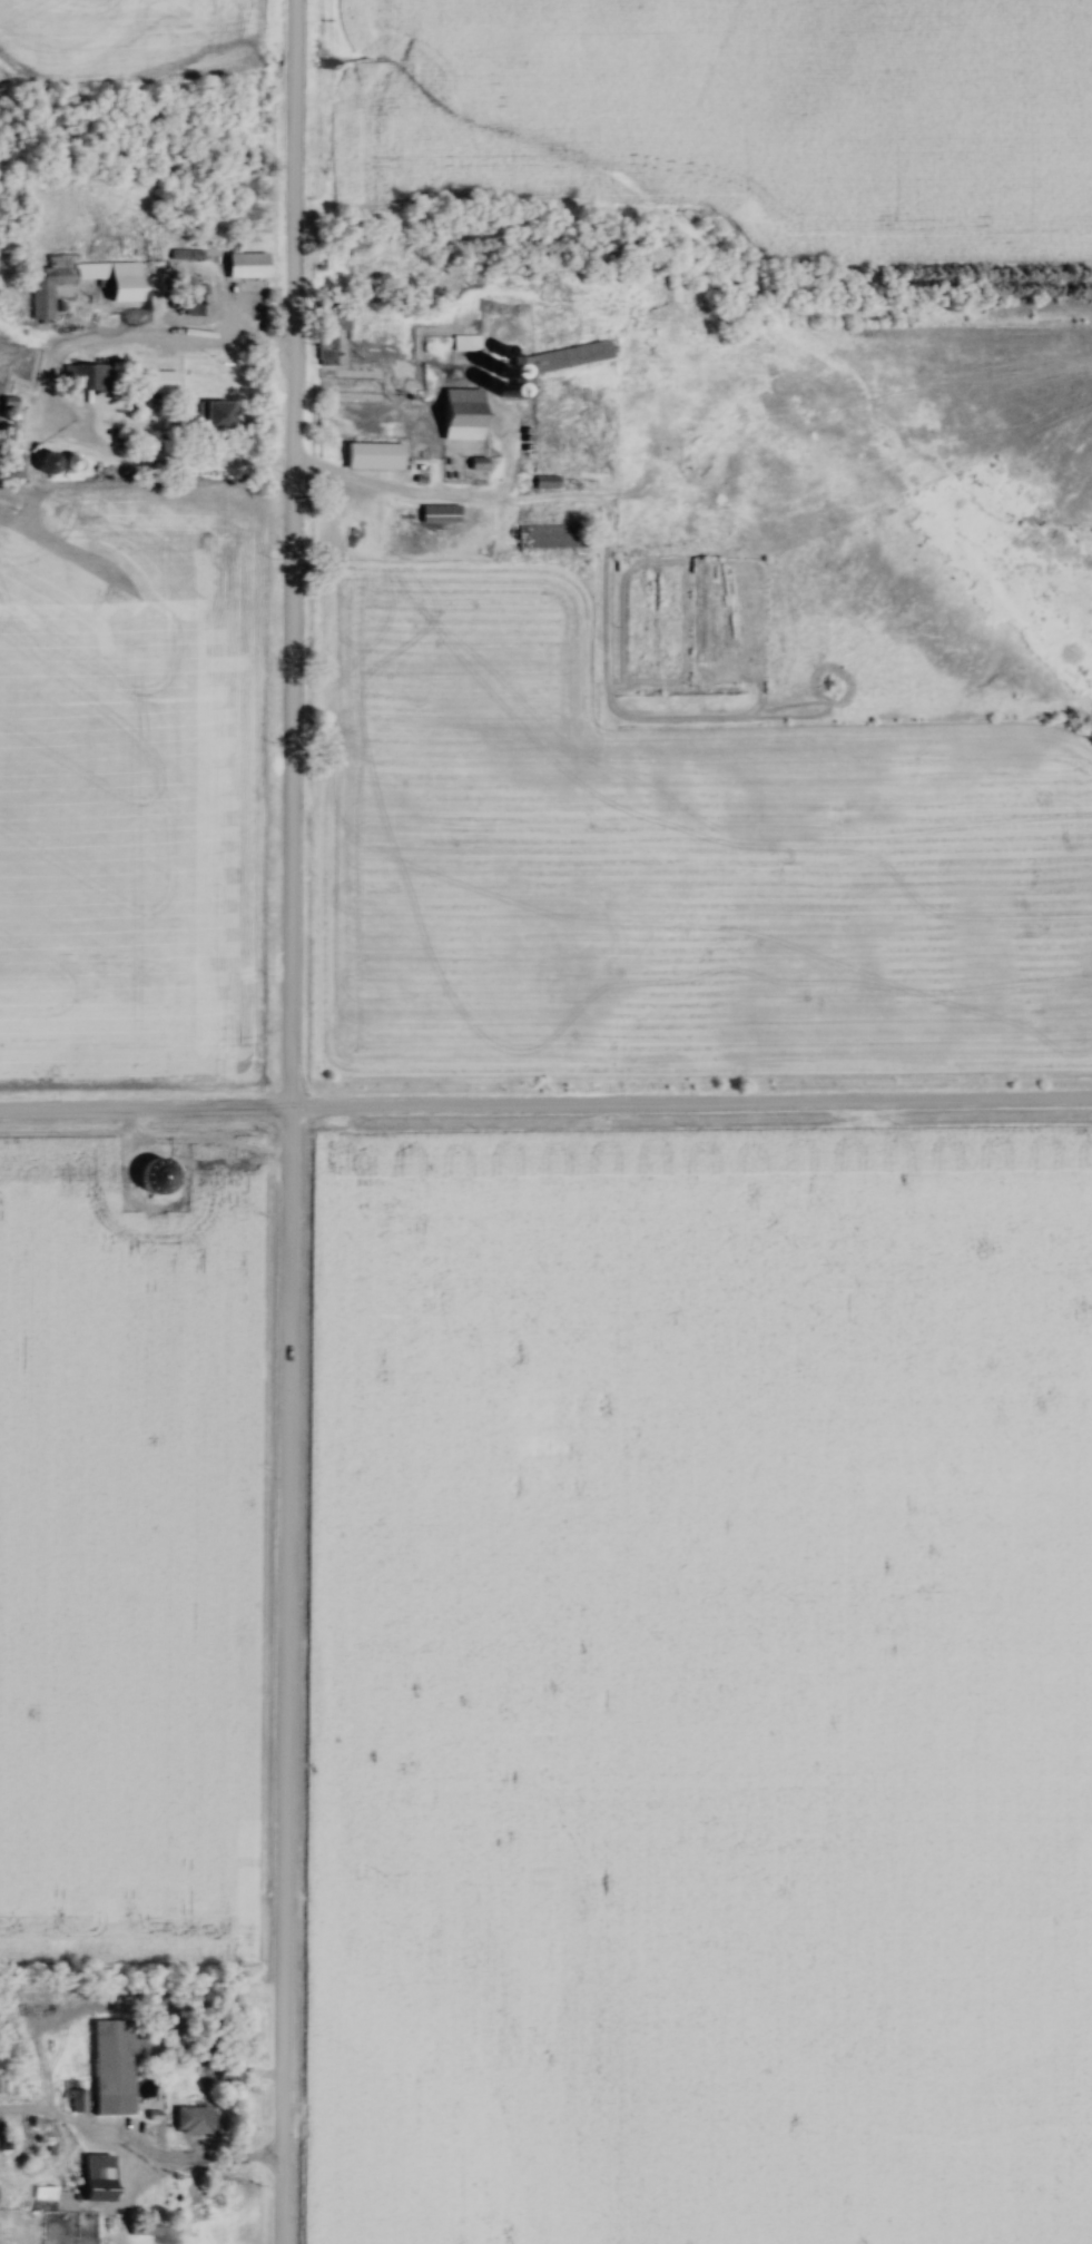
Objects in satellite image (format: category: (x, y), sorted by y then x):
building: (248, 265)
building: (83, 282)
building: (466, 343)
building: (555, 361)
building: (88, 376)
building: (158, 381)
building: (217, 413)
building: (465, 414)
building: (72, 461)
building: (51, 462)
building: (478, 463)
building: (548, 481)
road: (393, 491)
building: (441, 513)
building: (554, 535)
road: (689, 1108)
road: (144, 1112)
road: (286, 1122)
building: (115, 2067)
building: (72, 2100)
building: (195, 2120)
building: (102, 2178)

